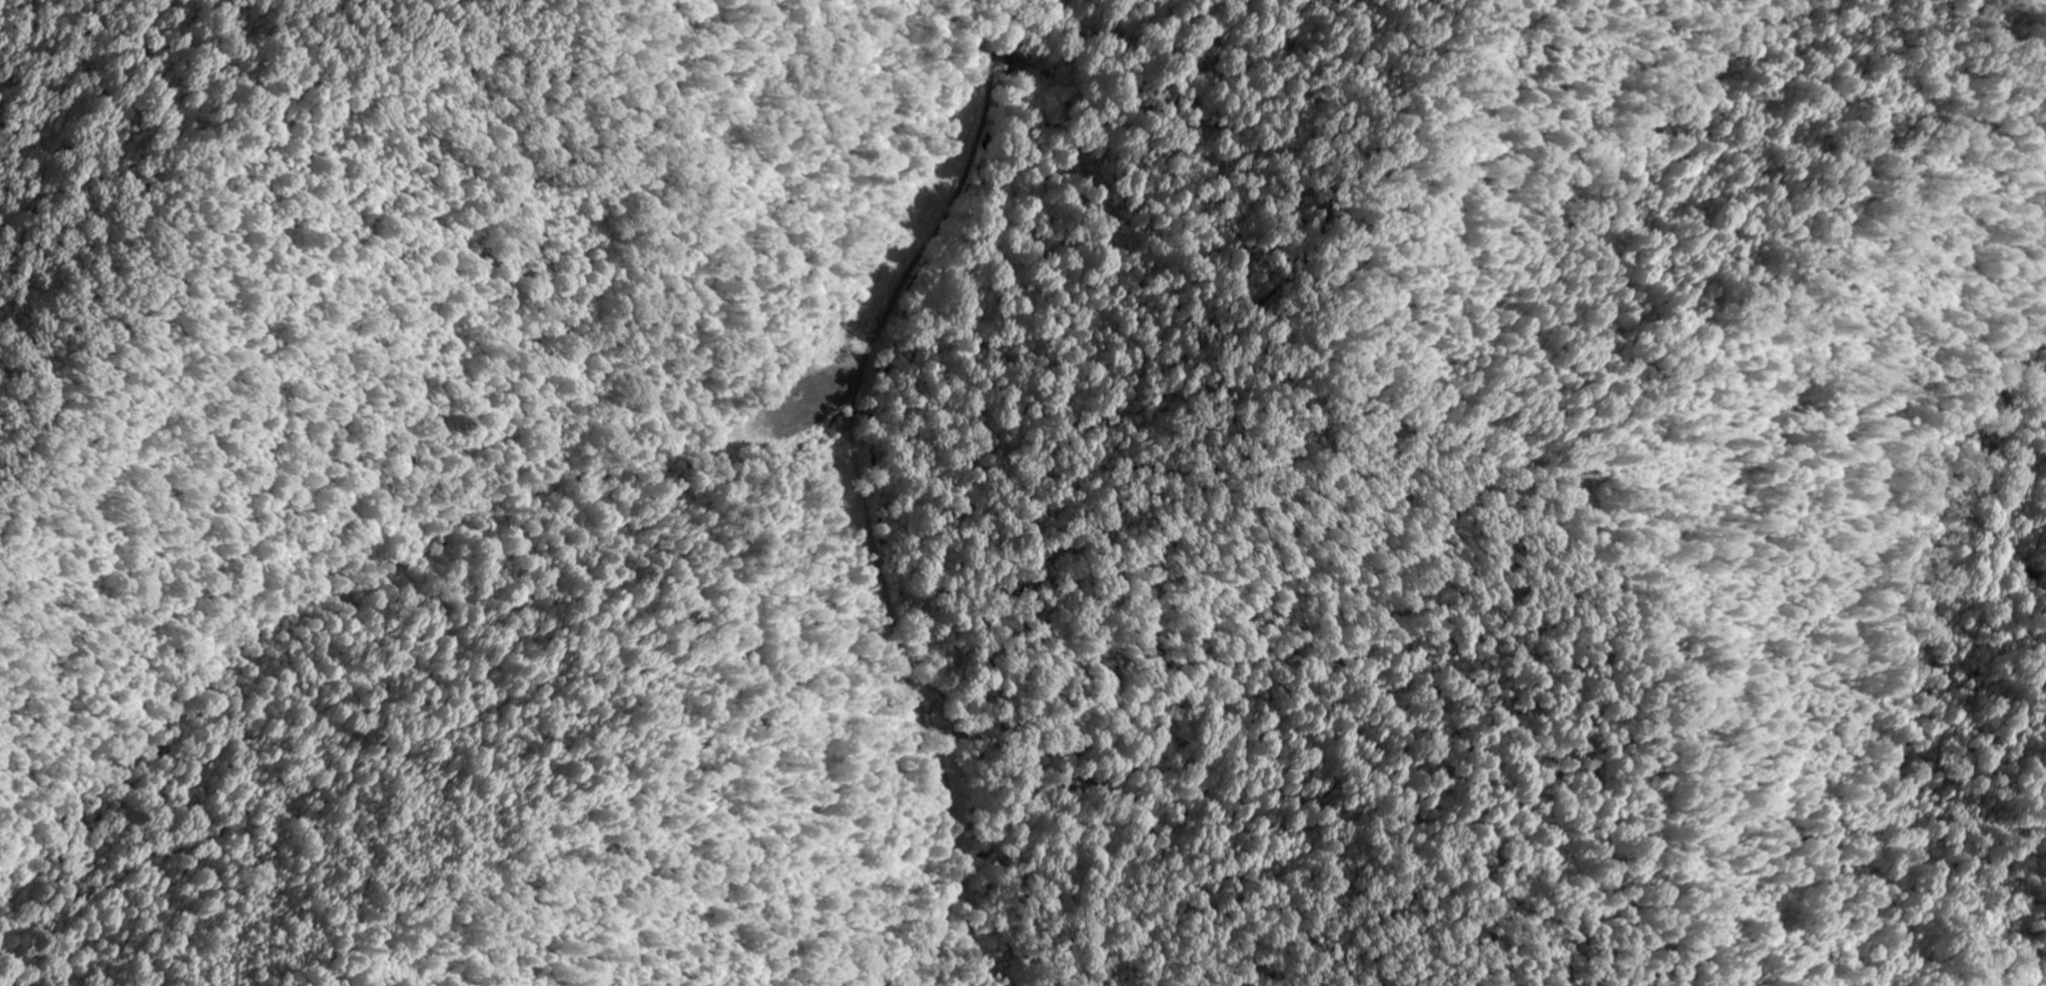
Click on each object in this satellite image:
building: (816, 397)

